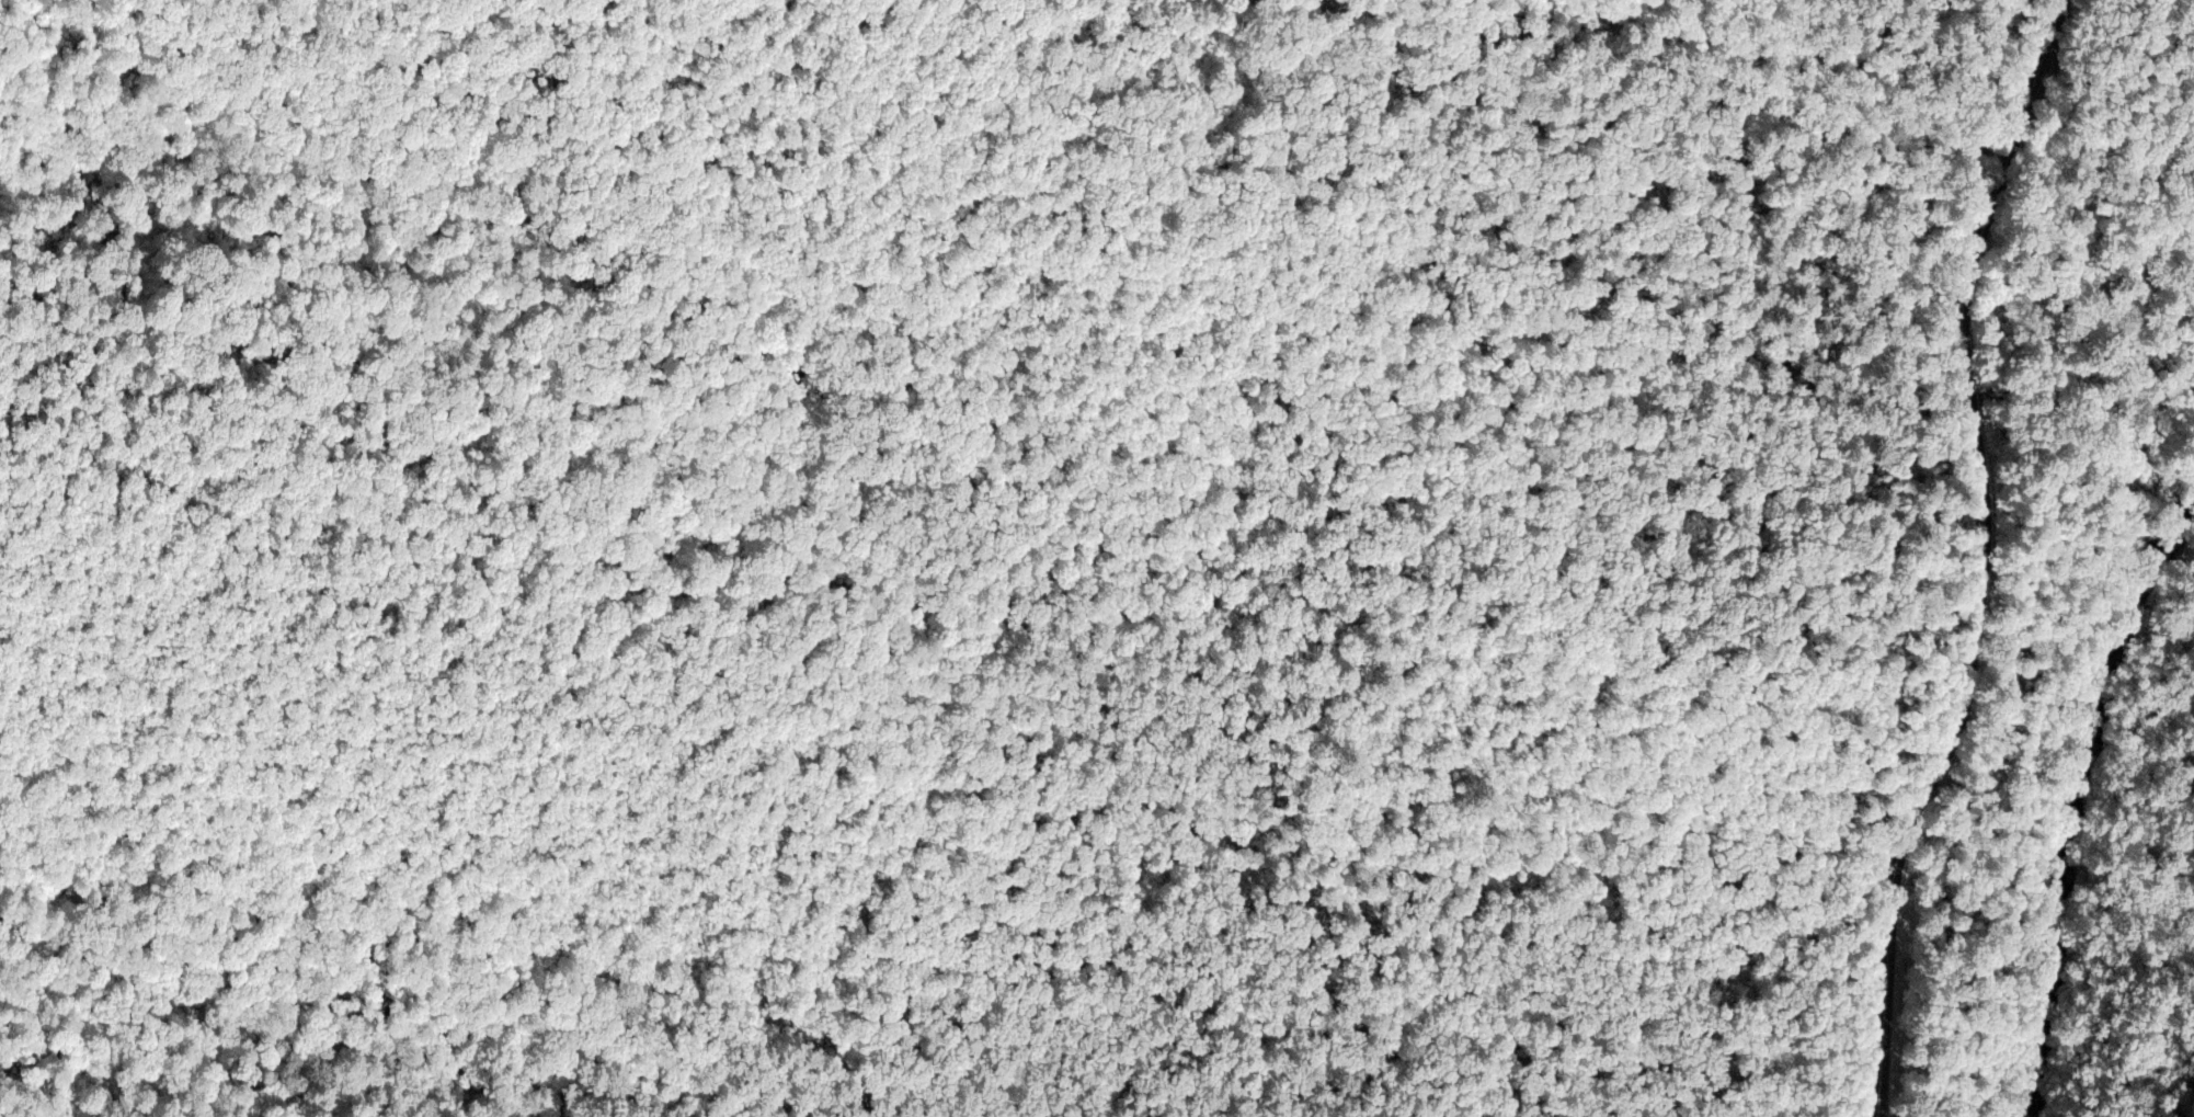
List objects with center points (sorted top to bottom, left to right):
road: (1984, 557)
river: (2157, 558)
river: (2060, 867)

